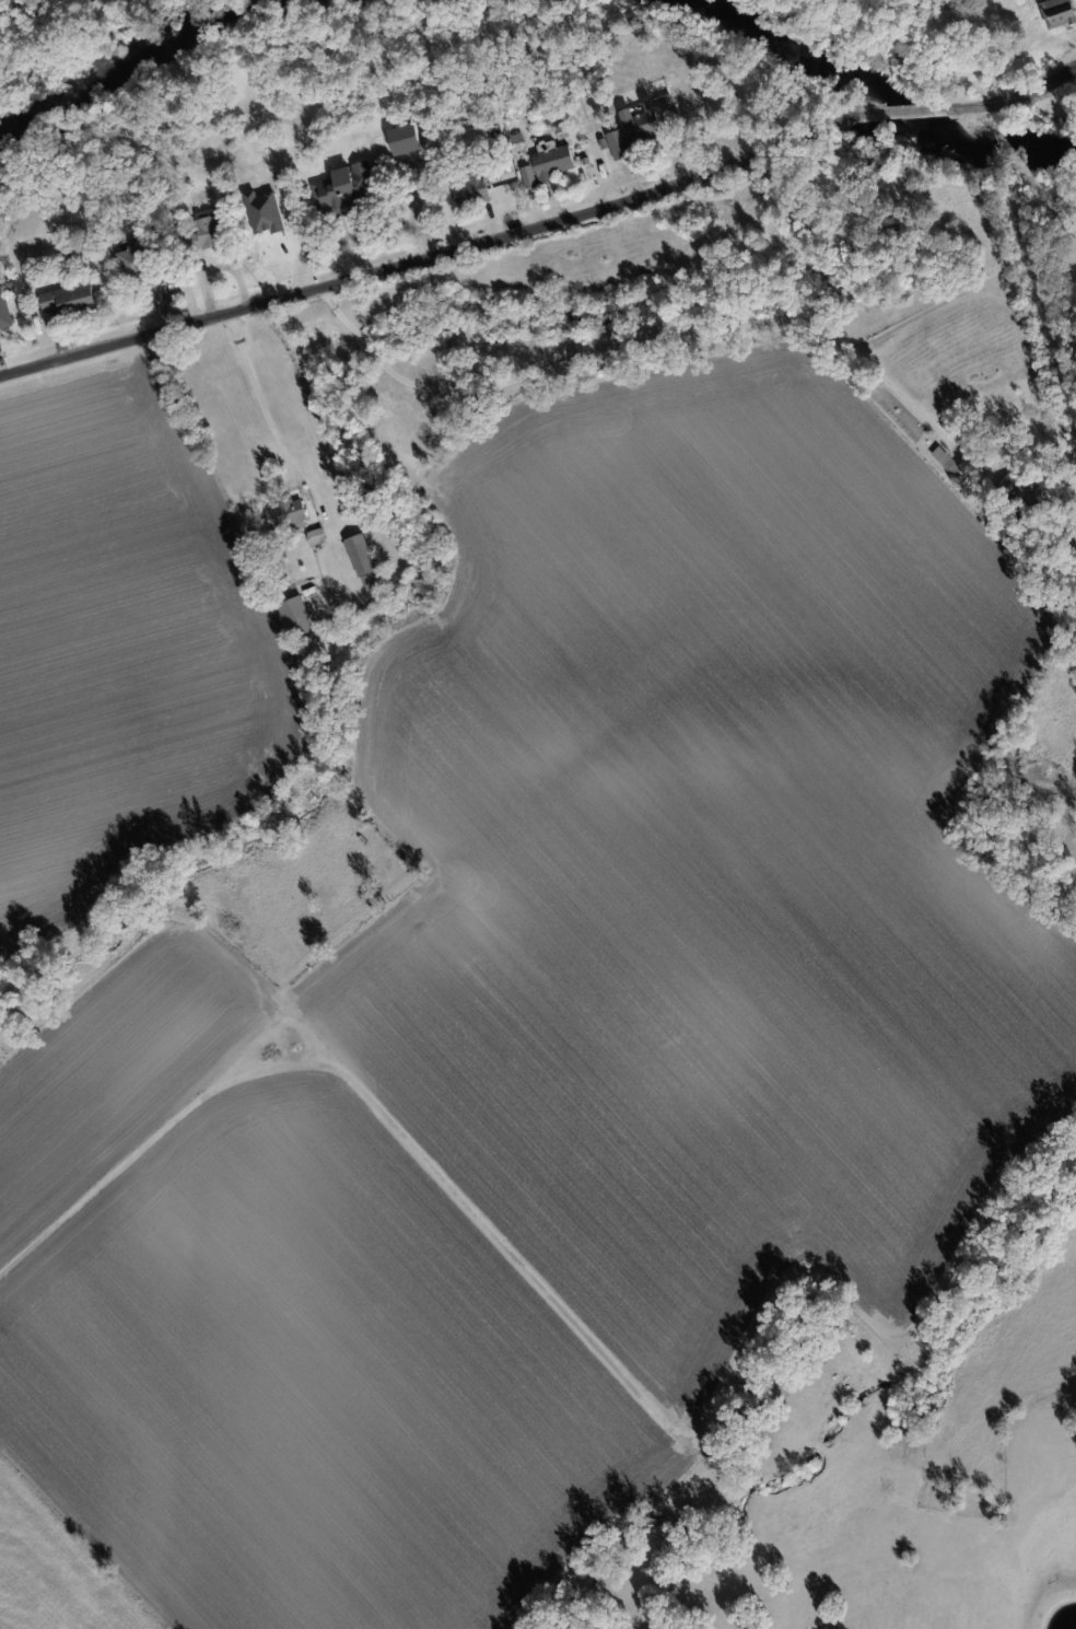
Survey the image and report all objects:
building: (1061, 14)
road: (1017, 96)
road: (929, 112)
building: (636, 129)
building: (514, 131)
building: (403, 139)
building: (552, 162)
road: (1022, 166)
building: (528, 176)
building: (344, 188)
building: (470, 189)
building: (203, 232)
road: (456, 252)
building: (134, 259)
building: (69, 299)
building: (4, 311)
building: (0, 337)
road: (643, 348)
road: (274, 426)
building: (950, 463)
building: (1026, 502)
building: (294, 527)
crop: (808, 554)
building: (360, 556)
building: (296, 618)
crop: (121, 659)
crop: (500, 1128)
road: (448, 1192)

